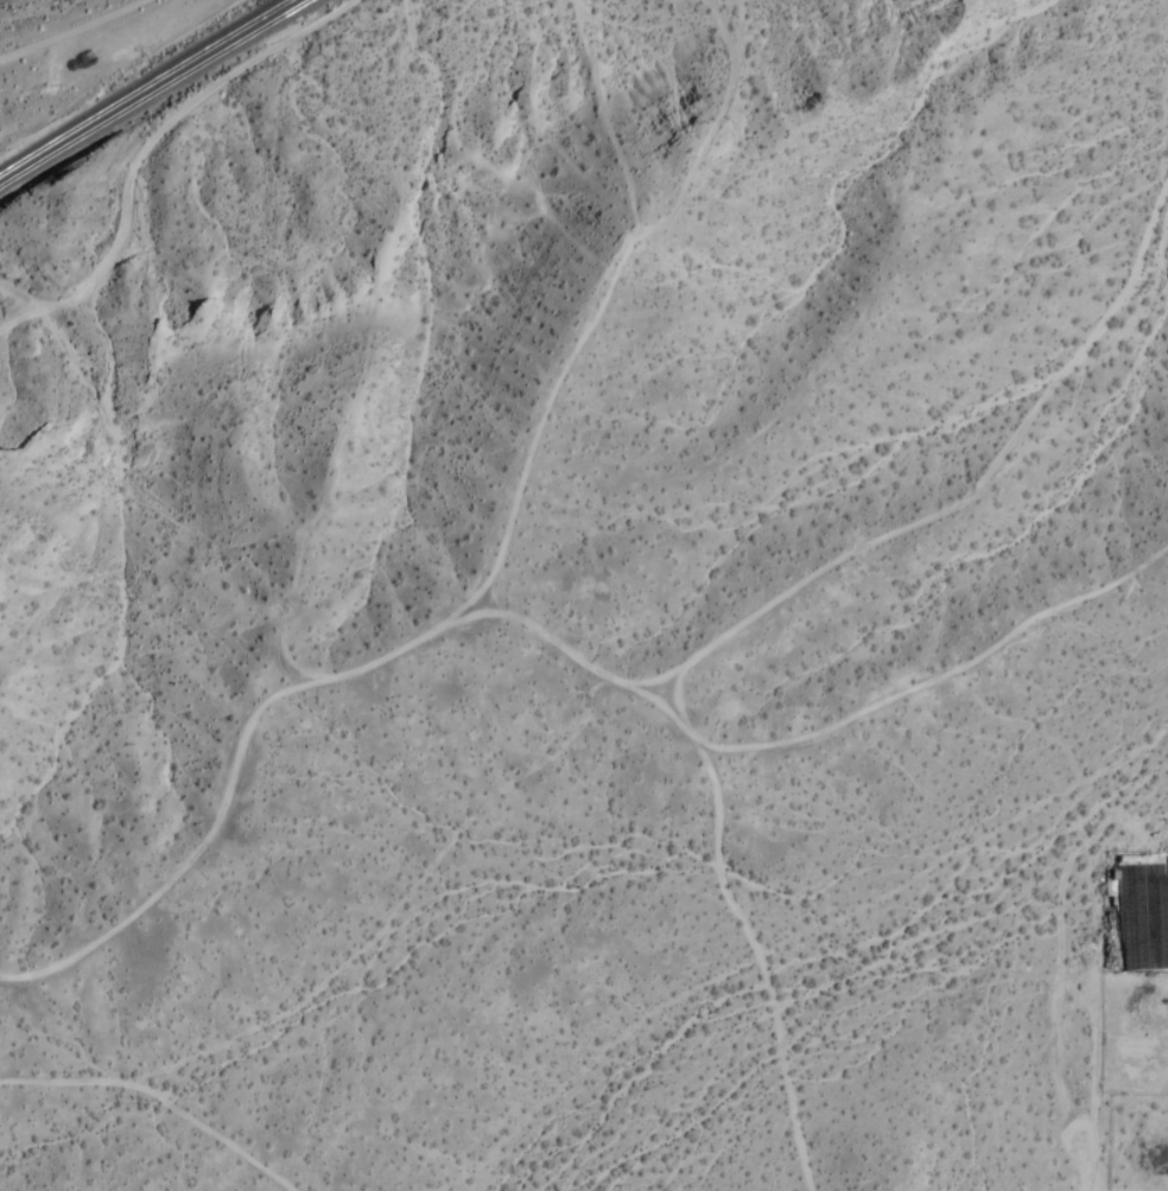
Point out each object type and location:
road: (71, 30)
railway: (144, 87)
railway: (153, 91)

